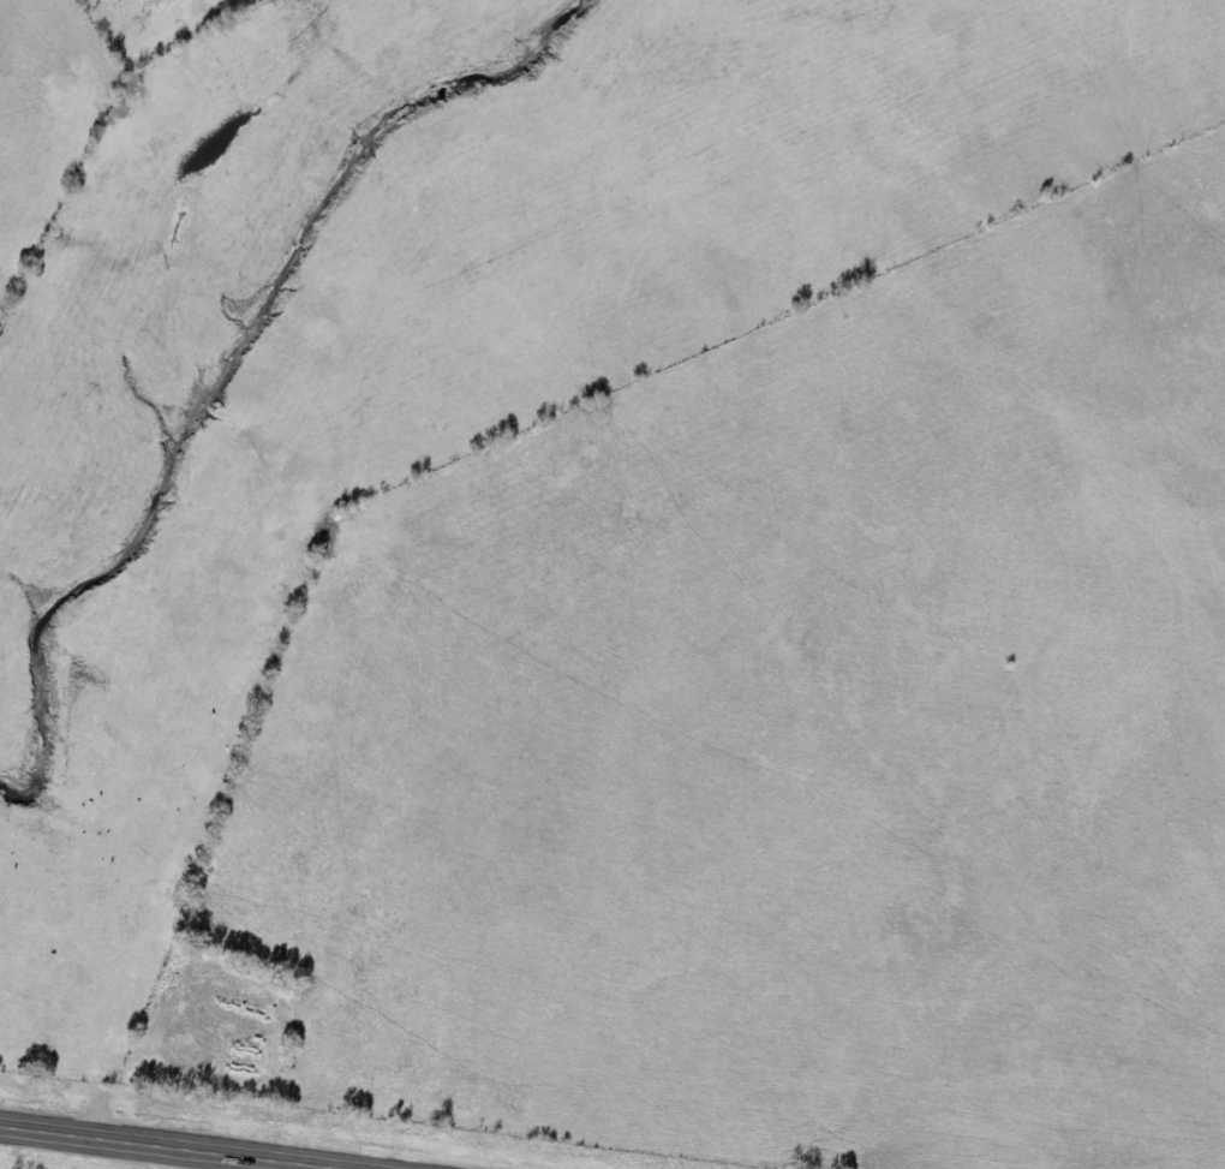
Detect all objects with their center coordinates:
road: (222, 1140)

